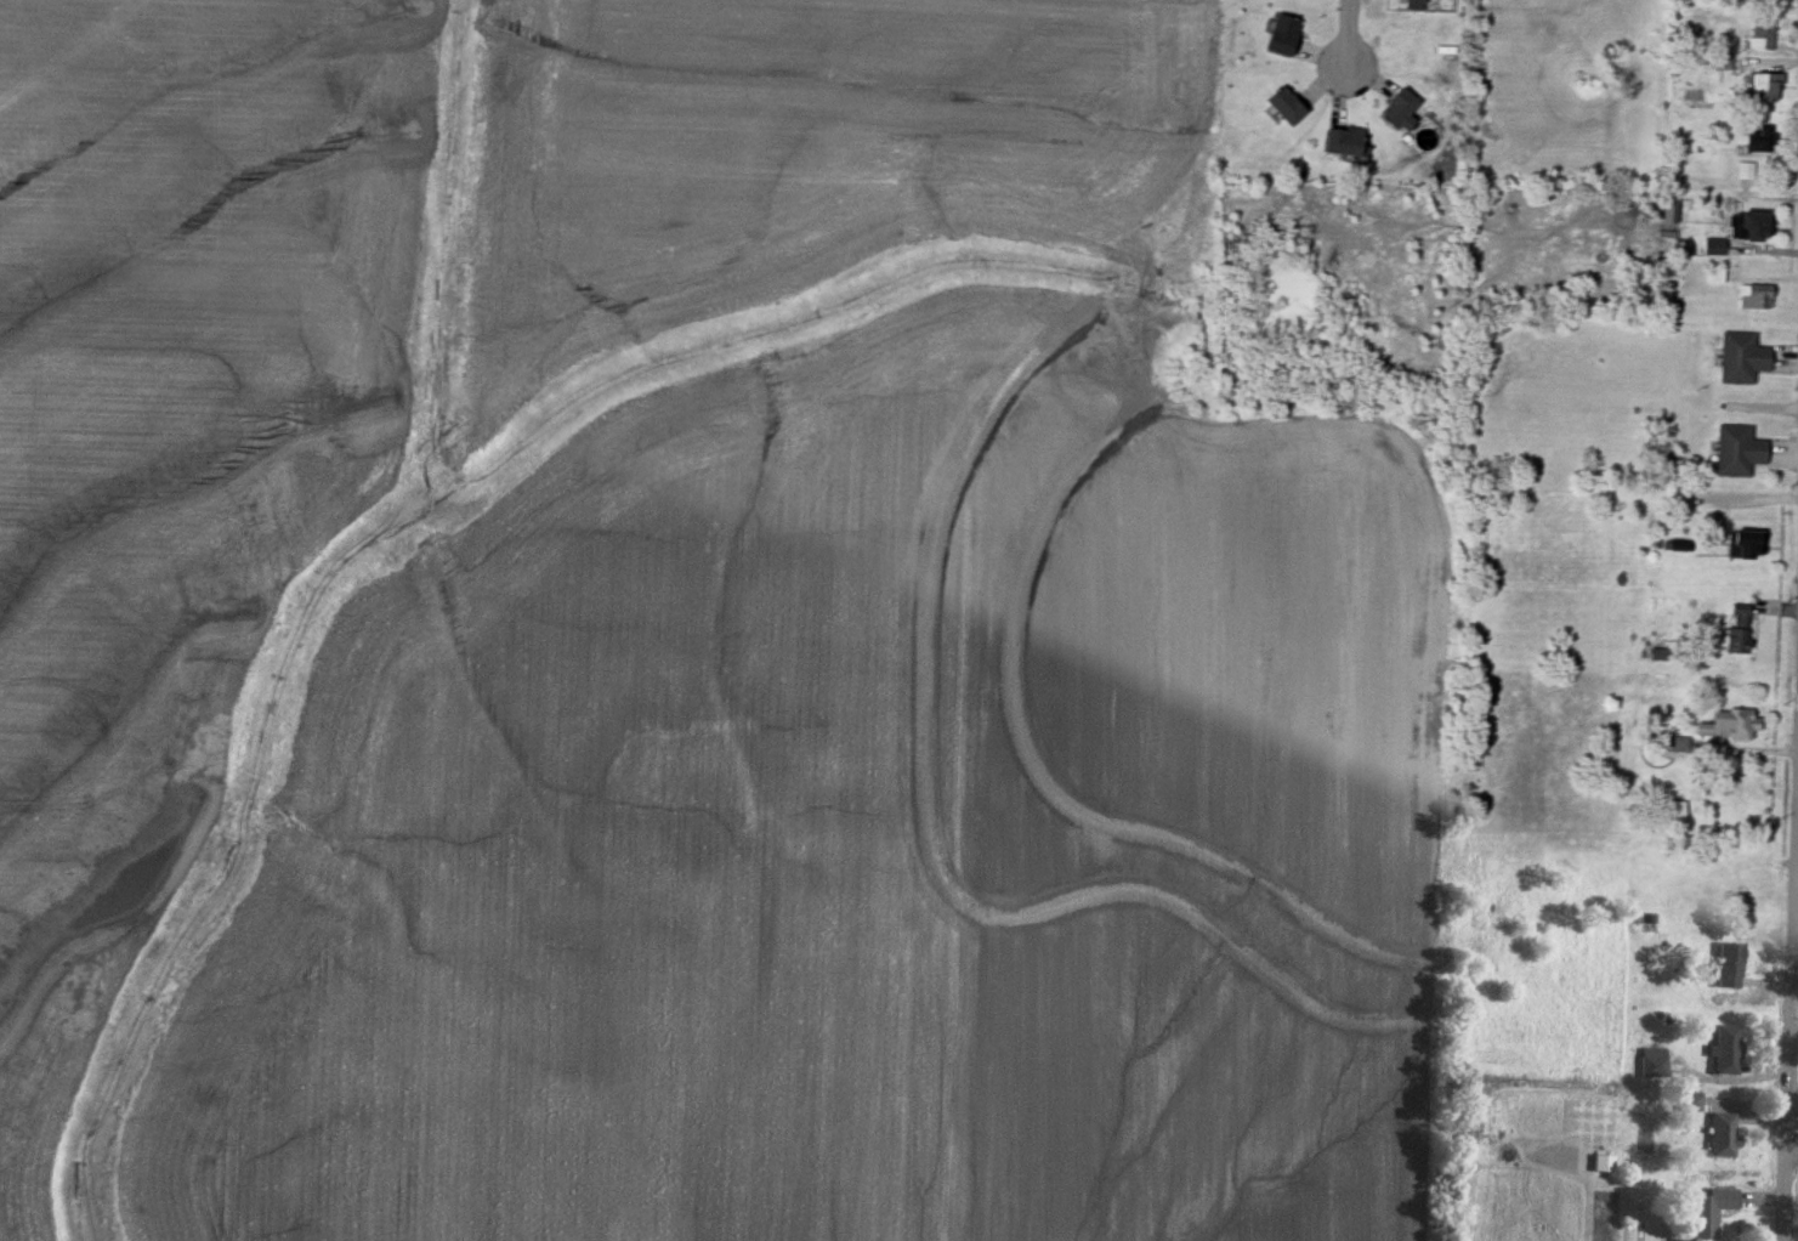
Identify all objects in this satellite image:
building: (1759, 1)
road: (1350, 36)
building: (1763, 36)
building: (1286, 38)
building: (1617, 61)
building: (1723, 63)
building: (1764, 90)
building: (1288, 108)
building: (1401, 110)
building: (1759, 138)
building: (1345, 143)
building: (1746, 172)
building: (1751, 228)
building: (1757, 301)
building: (1743, 359)
building: (1739, 452)
road: (1632, 504)
building: (1747, 546)
building: (1739, 633)
building: (1730, 726)
building: (1675, 746)
building: (1669, 815)
road: (1796, 926)
building: (1730, 963)
road: (1788, 1007)
road: (1793, 1007)
building: (1728, 1048)
building: (1654, 1061)
building: (1691, 1100)
building: (1724, 1133)
building: (1604, 1161)
road: (1791, 1164)
building: (1709, 1211)

